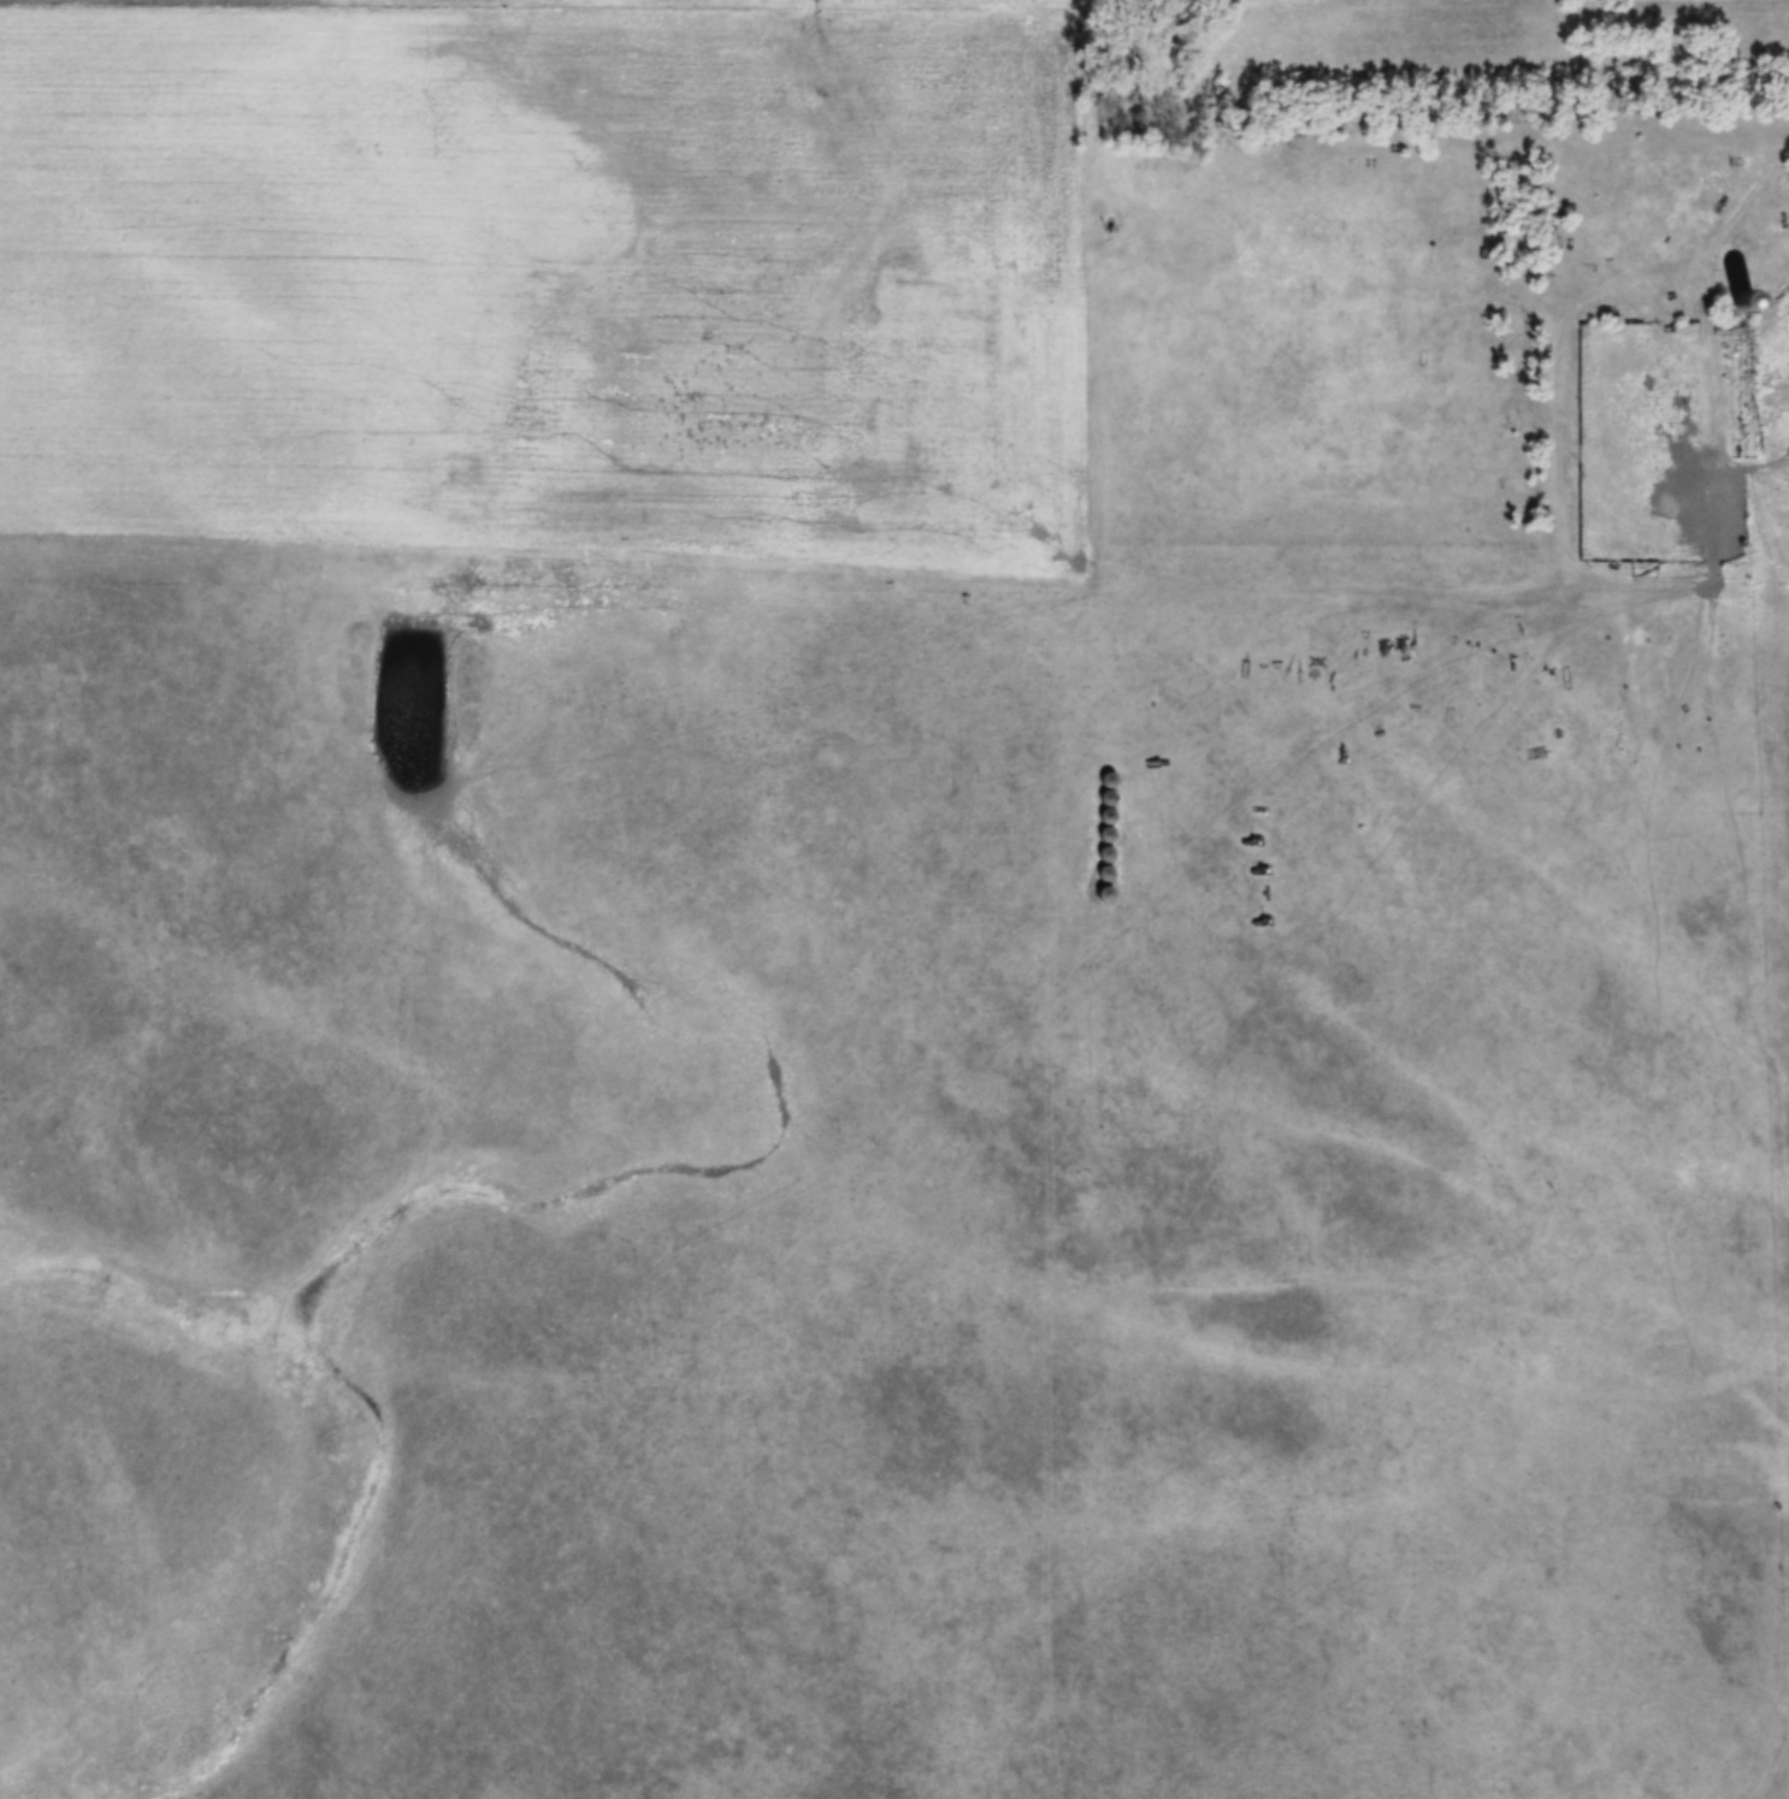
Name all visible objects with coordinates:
crop: (543, 276)

